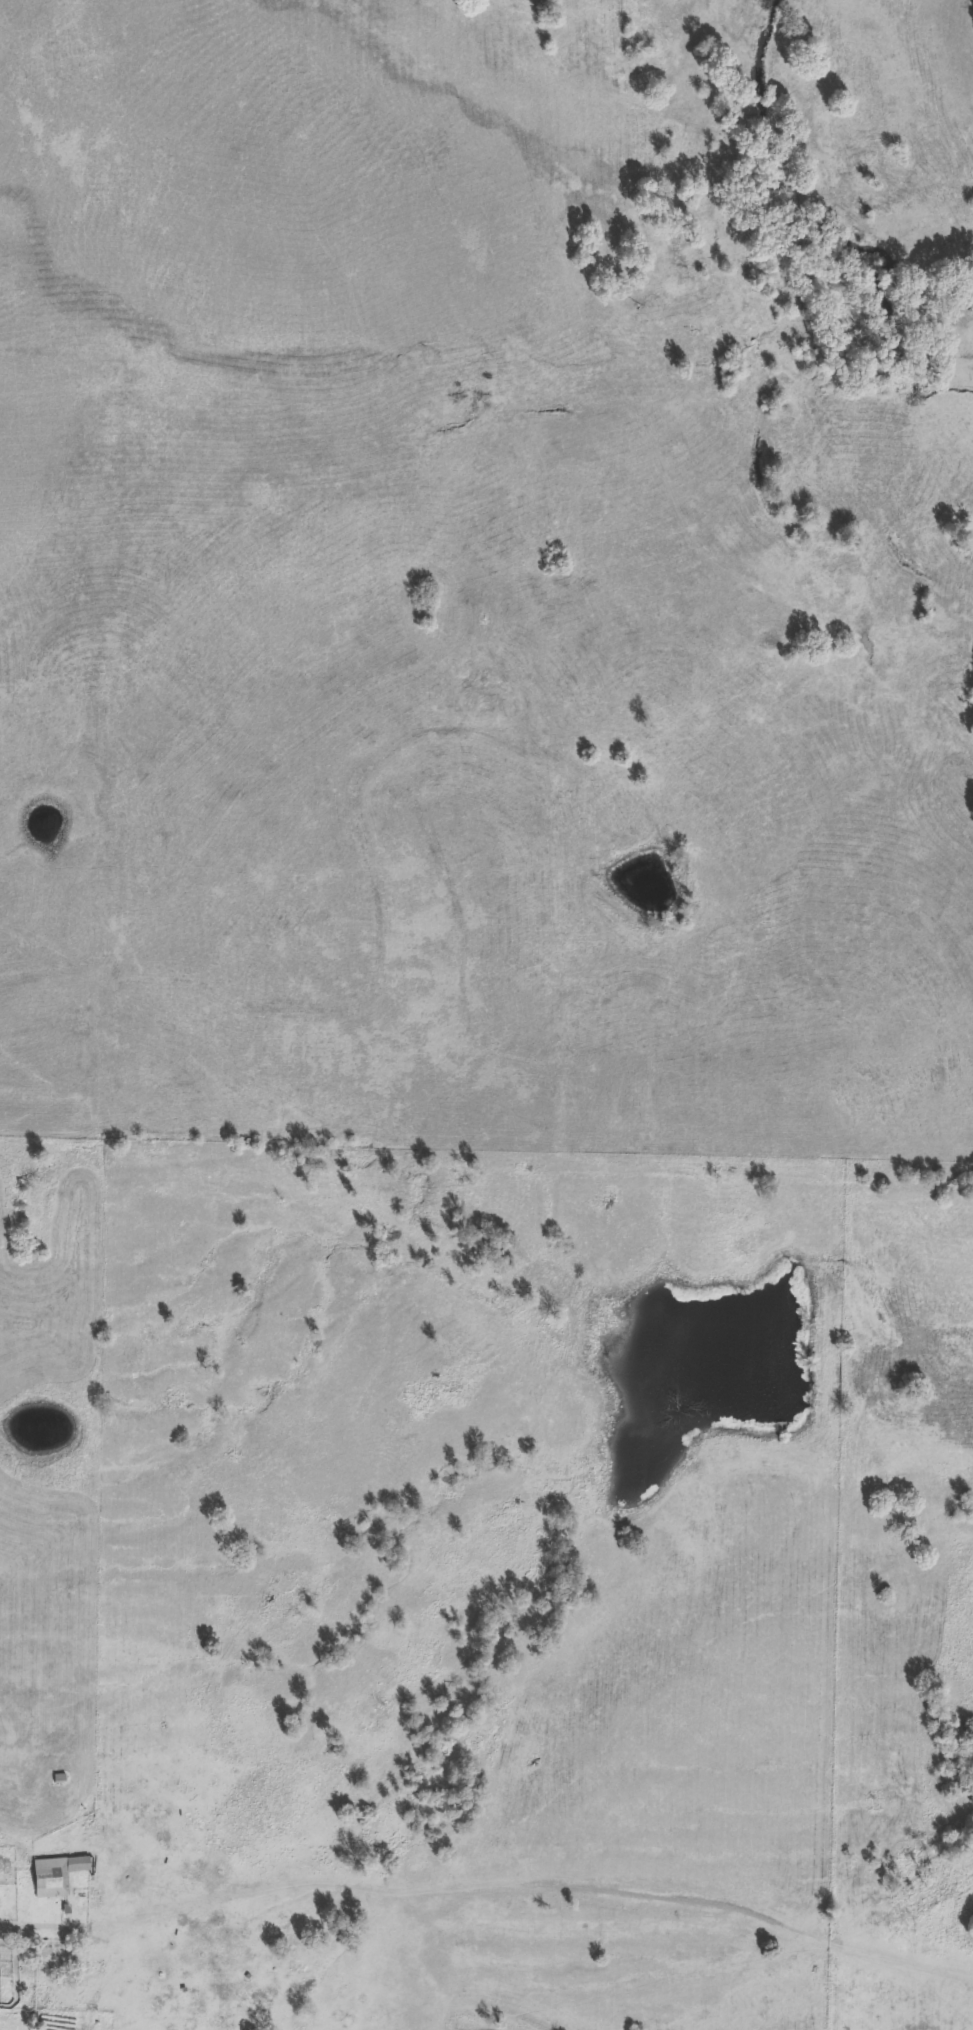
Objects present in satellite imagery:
building: (58, 1876)
road: (36, 1924)

